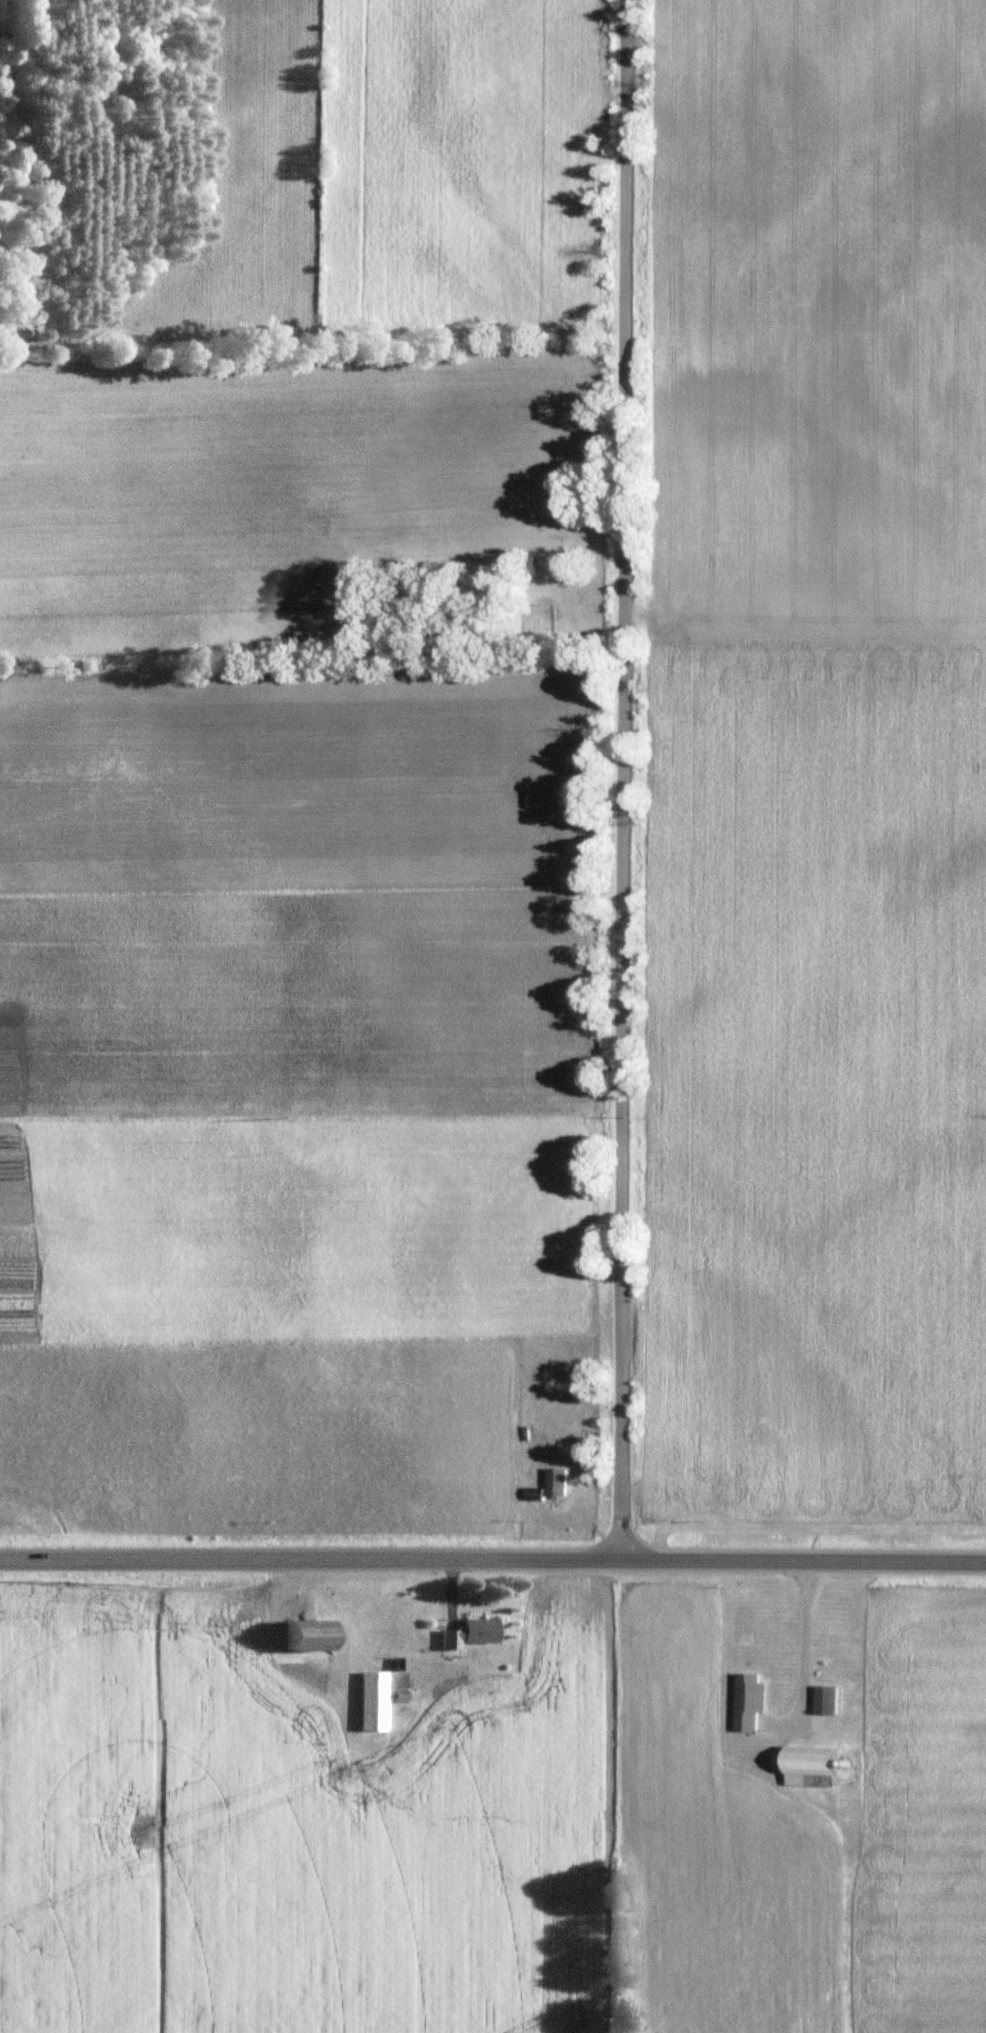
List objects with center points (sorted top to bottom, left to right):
crop: (808, 769)
road: (621, 777)
building: (553, 1482)
road: (493, 1555)
building: (465, 1633)
building: (301, 1636)
road: (809, 1639)
building: (371, 1701)
building: (823, 1701)
building: (747, 1709)
building: (746, 1752)
building: (805, 1767)

